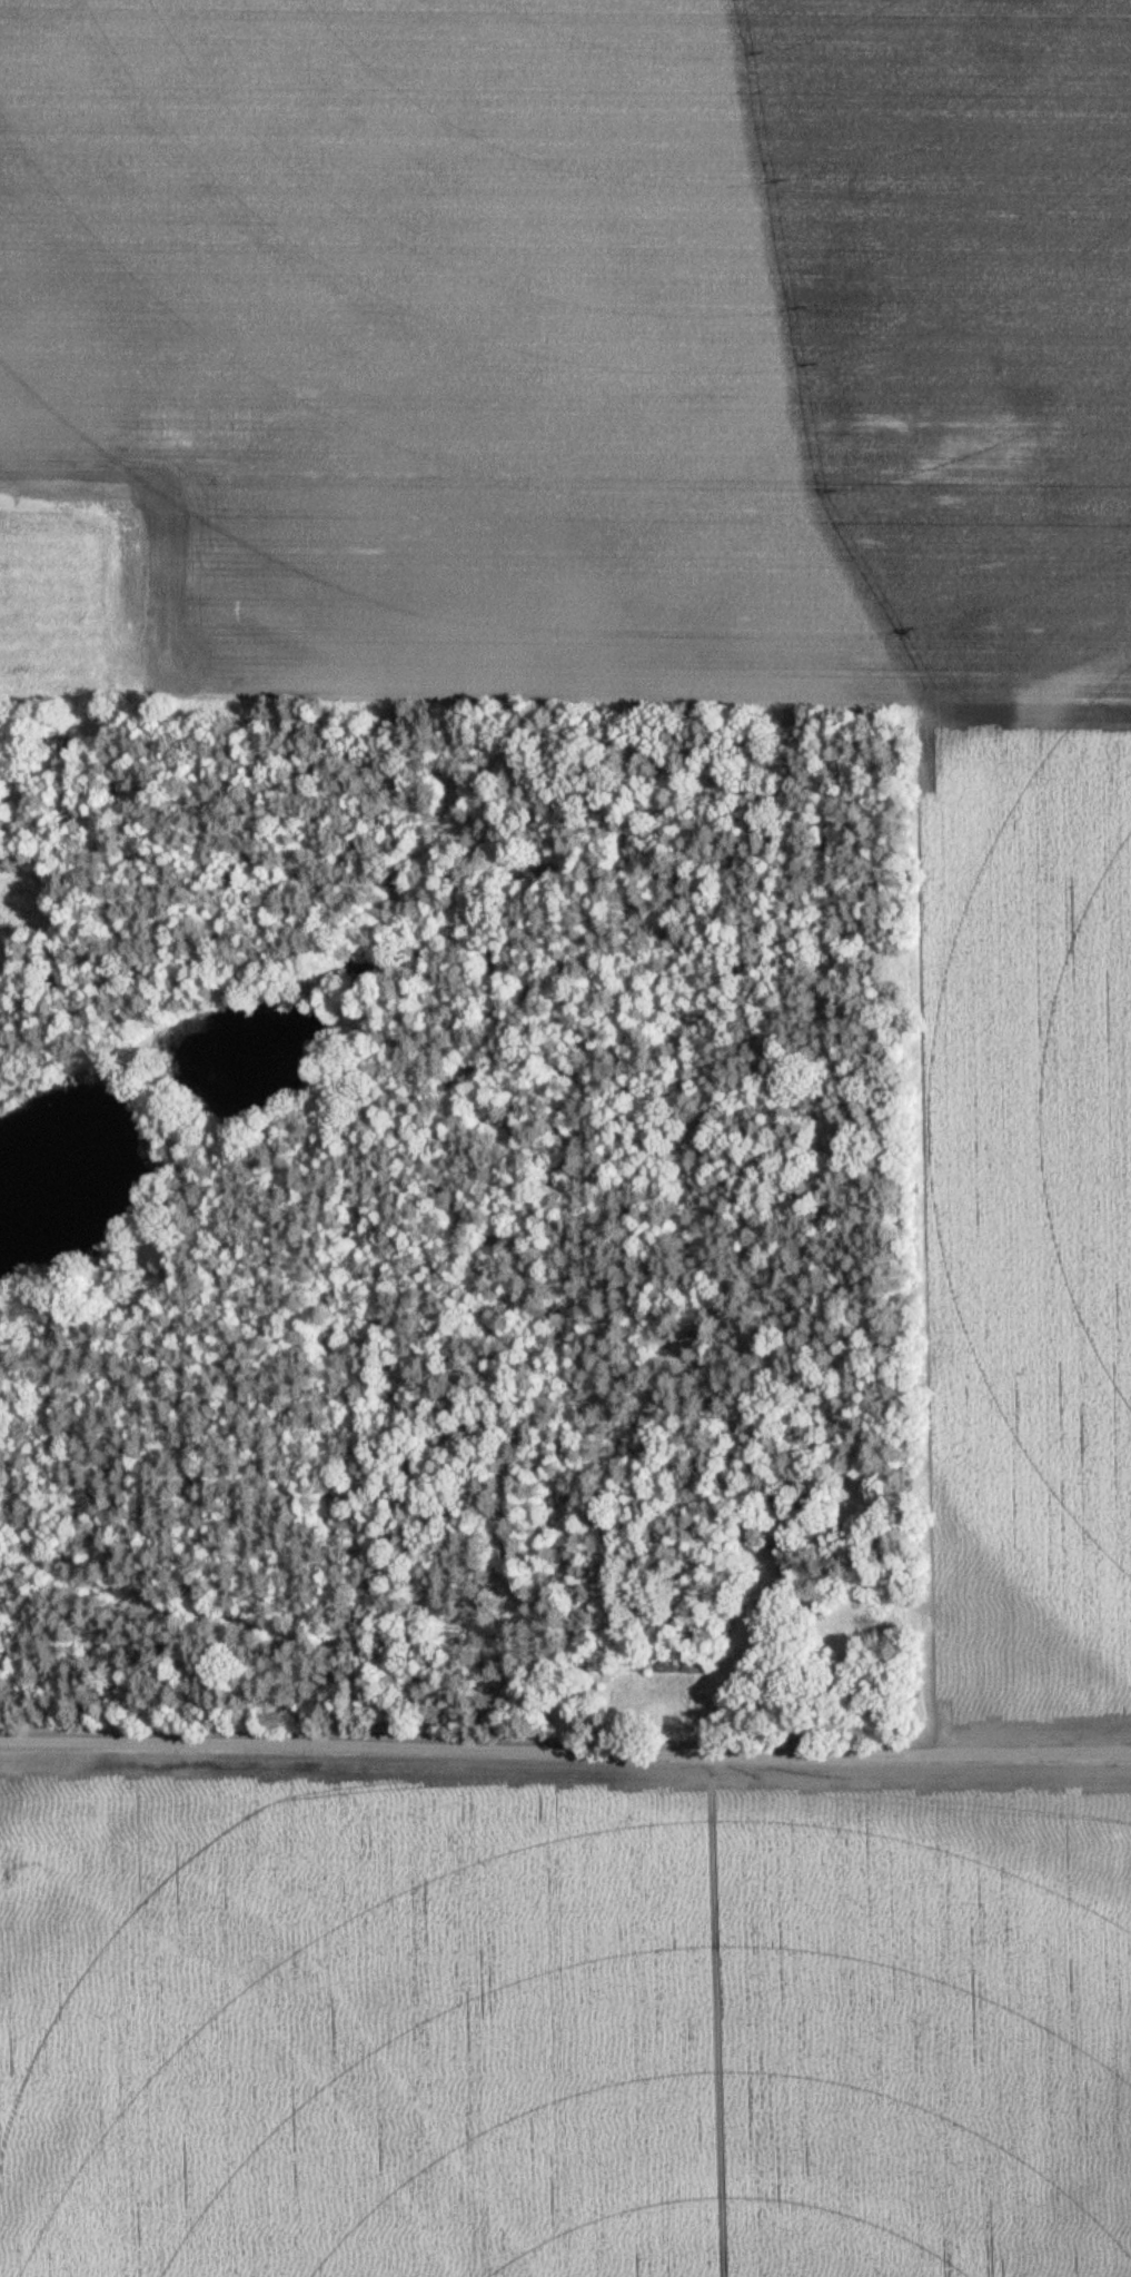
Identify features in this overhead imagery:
road: (565, 1754)

